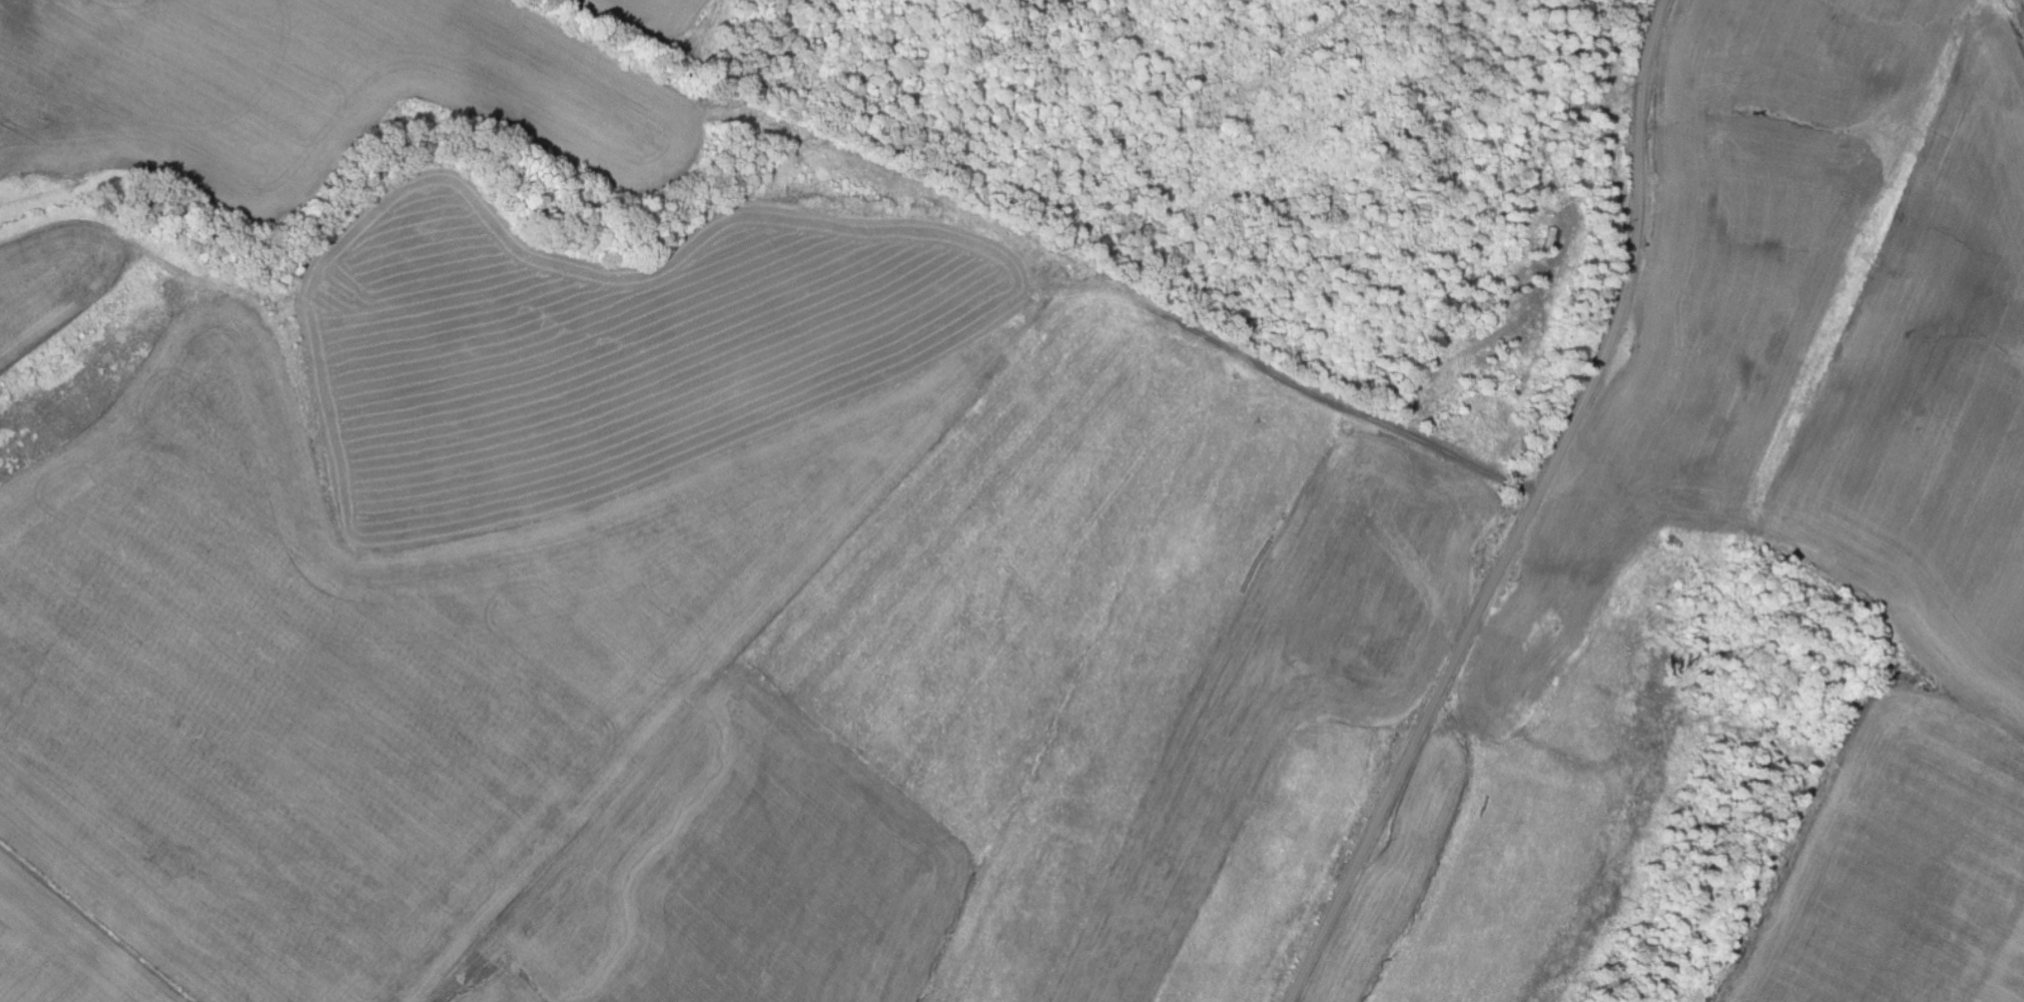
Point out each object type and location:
road: (1526, 513)
road: (1319, 989)

